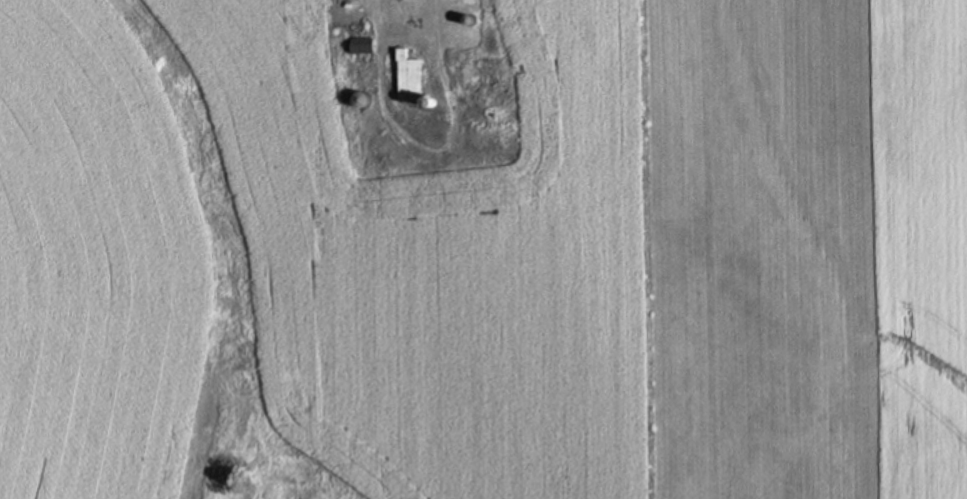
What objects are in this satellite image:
building: (360, 44)
building: (406, 76)

